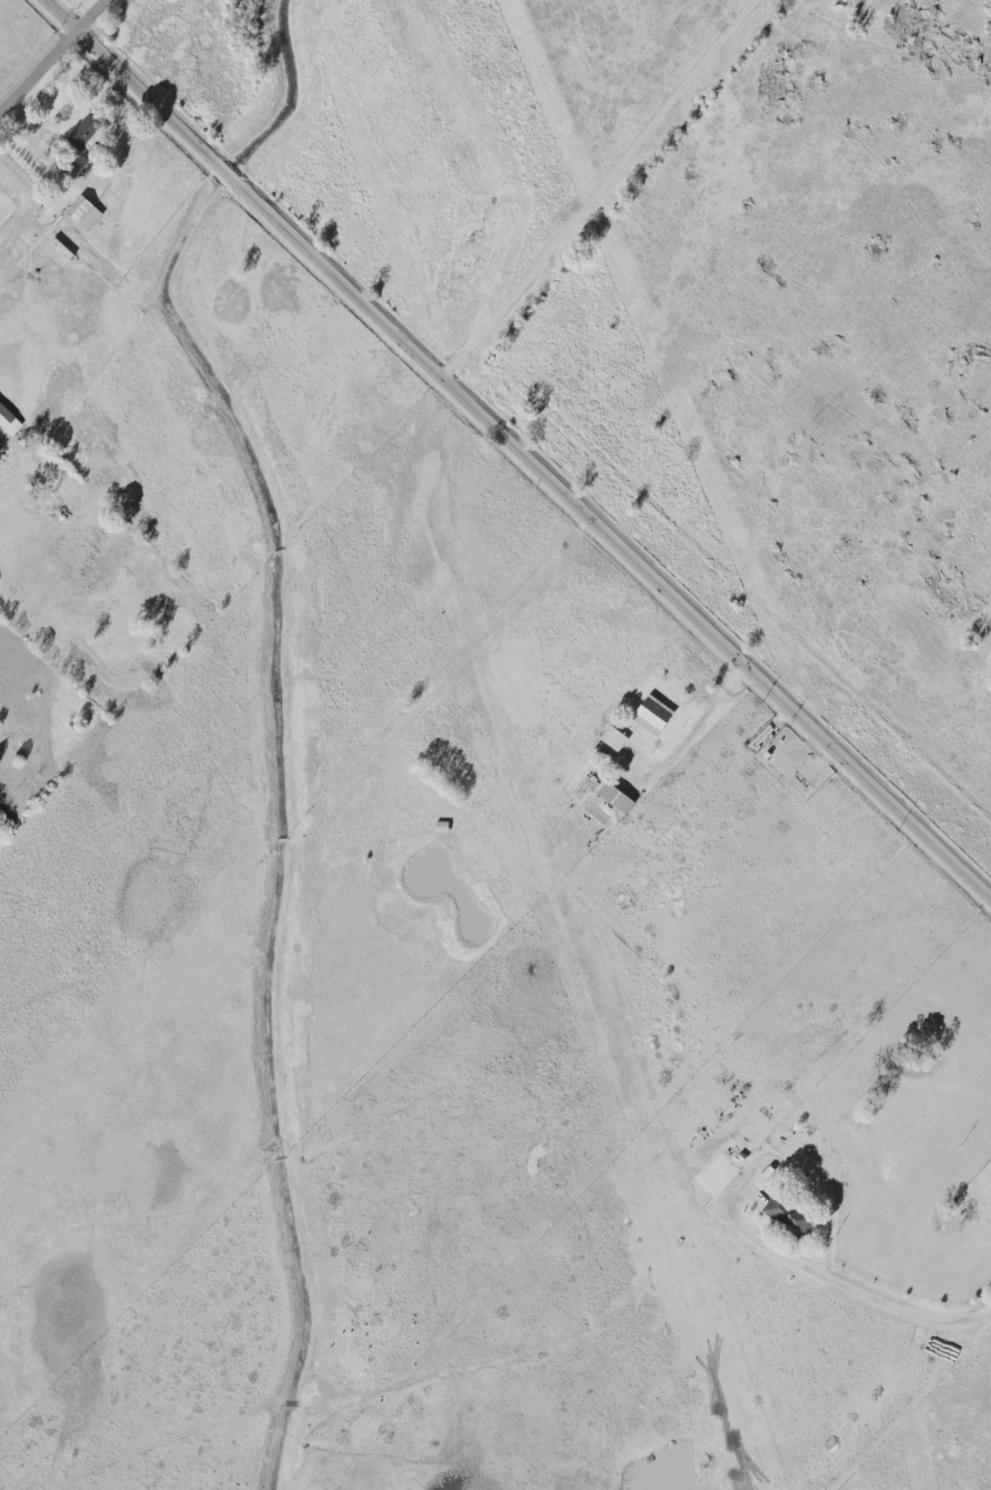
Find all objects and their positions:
road: (53, 57)
building: (84, 133)
road: (30, 154)
road: (598, 189)
building: (85, 213)
building: (9, 421)
road: (515, 447)
building: (655, 716)
road: (693, 729)
building: (615, 738)
building: (618, 797)
road: (757, 1165)
building: (789, 1215)
road: (905, 1306)

